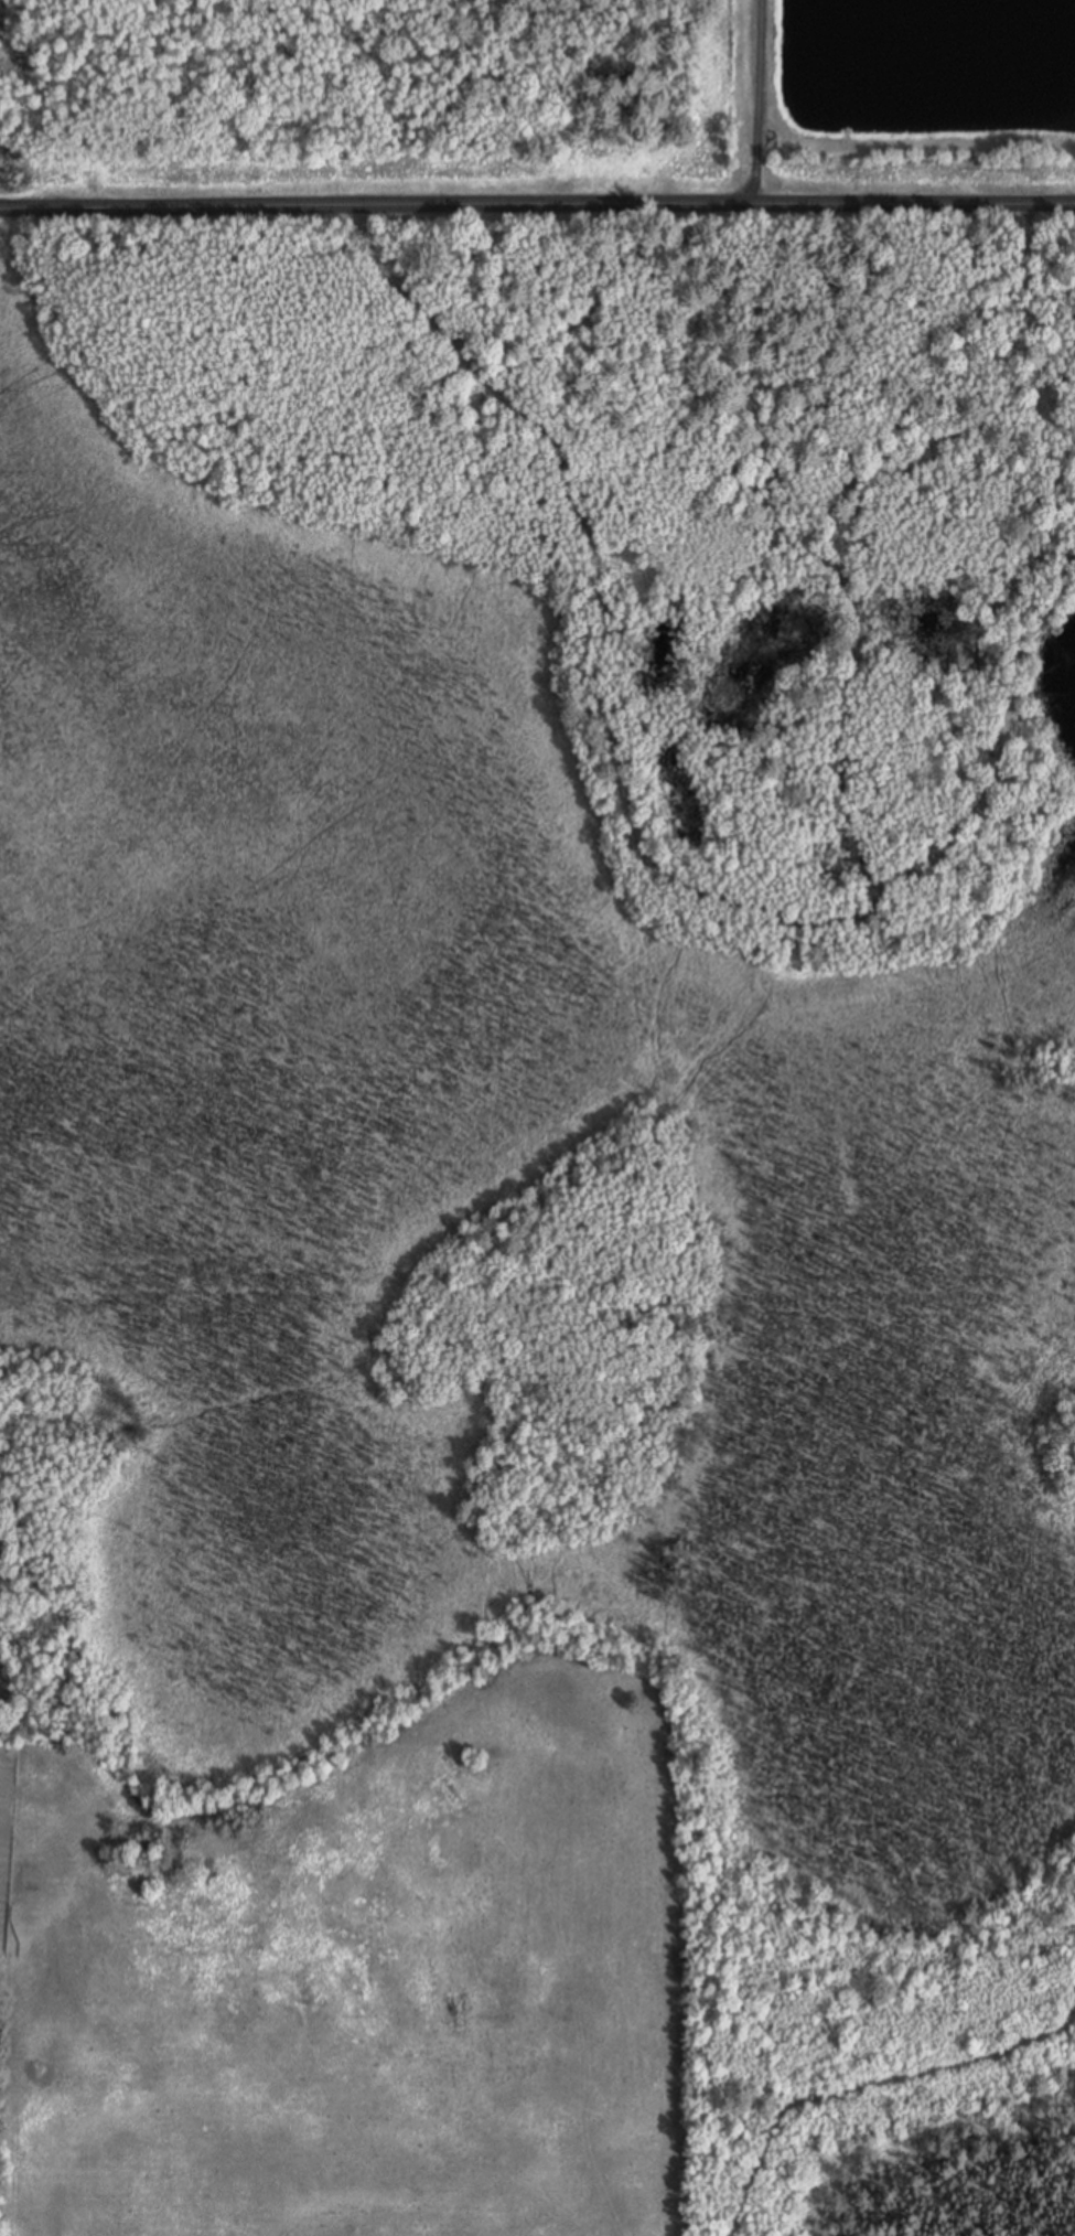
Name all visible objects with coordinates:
road: (537, 205)

